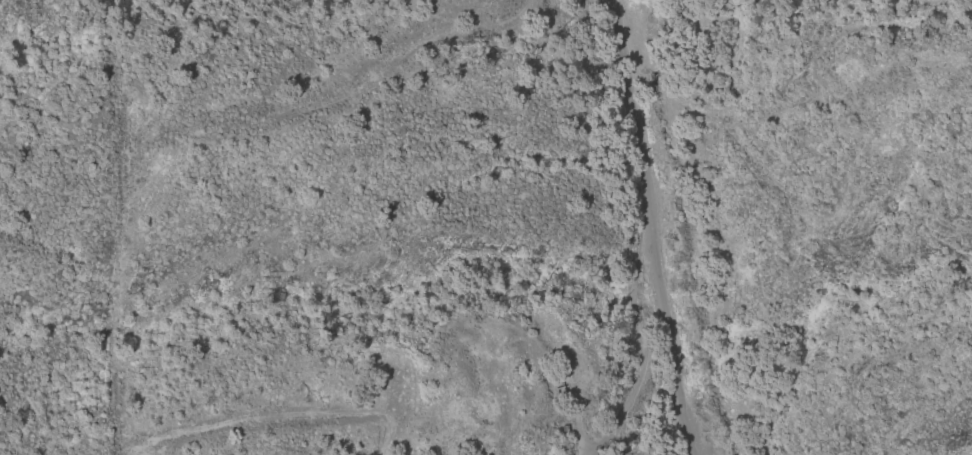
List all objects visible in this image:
road: (651, 228)
road: (640, 352)
road: (382, 445)

